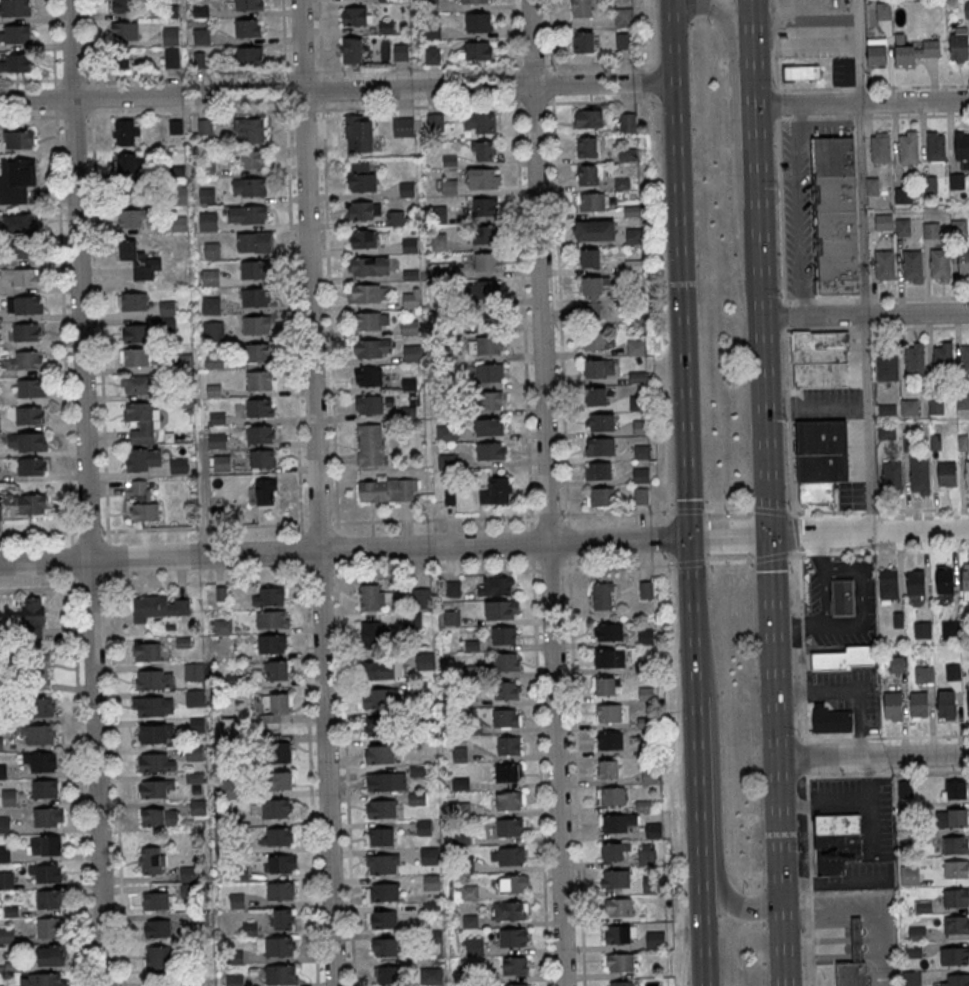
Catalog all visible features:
building: (387, 0)
building: (474, 1)
building: (249, 5)
building: (431, 5)
building: (123, 6)
building: (15, 8)
building: (583, 8)
building: (967, 9)
building: (884, 11)
building: (356, 15)
building: (624, 16)
building: (479, 22)
building: (387, 26)
building: (248, 28)
building: (124, 30)
building: (432, 30)
building: (14, 33)
road: (513, 33)
road: (550, 33)
building: (201, 36)
road: (284, 36)
building: (624, 40)
building: (585, 41)
road: (671, 42)
building: (171, 47)
building: (959, 47)
building: (352, 50)
building: (477, 50)
building: (401, 52)
road: (755, 54)
building: (877, 54)
building: (249, 55)
building: (432, 55)
building: (904, 55)
building: (199, 58)
building: (122, 61)
building: (14, 62)
road: (599, 64)
road: (533, 66)
building: (800, 72)
road: (257, 73)
road: (646, 81)
road: (552, 83)
road: (515, 85)
road: (918, 85)
road: (861, 87)
road: (815, 88)
road: (336, 90)
road: (600, 101)
road: (534, 102)
road: (863, 104)
road: (227, 110)
road: (916, 114)
road: (27, 116)
road: (815, 117)
road: (857, 117)
building: (589, 118)
building: (434, 121)
building: (479, 122)
building: (627, 122)
building: (204, 126)
building: (403, 127)
road: (735, 128)
building: (250, 129)
building: (126, 132)
building: (359, 133)
building: (19, 139)
building: (961, 145)
building: (588, 147)
building: (908, 147)
building: (936, 147)
building: (881, 148)
building: (482, 150)
road: (779, 151)
building: (628, 154)
building: (252, 159)
road: (760, 160)
building: (127, 163)
building: (588, 174)
building: (361, 177)
building: (484, 178)
building: (16, 180)
building: (957, 181)
building: (621, 183)
building: (929, 185)
building: (249, 186)
building: (448, 186)
building: (872, 186)
building: (134, 190)
building: (206, 195)
building: (904, 196)
building: (591, 201)
building: (485, 206)
building: (360, 210)
building: (438, 210)
building: (247, 214)
building: (835, 215)
building: (395, 217)
building: (130, 220)
building: (207, 221)
building: (884, 222)
building: (19, 223)
building: (903, 227)
building: (959, 228)
building: (595, 230)
building: (931, 230)
building: (486, 234)
building: (363, 238)
building: (254, 241)
building: (22, 249)
building: (130, 251)
building: (589, 258)
building: (487, 261)
road: (763, 263)
building: (964, 263)
building: (940, 264)
road: (862, 265)
building: (885, 265)
building: (369, 266)
building: (913, 266)
building: (253, 269)
building: (22, 276)
building: (482, 290)
building: (368, 293)
building: (255, 297)
building: (592, 297)
road: (919, 297)
building: (411, 299)
road: (822, 299)
road: (865, 299)
building: (132, 301)
building: (24, 305)
building: (210, 305)
building: (167, 308)
road: (560, 308)
road: (523, 309)
road: (682, 310)
road: (866, 312)
road: (784, 314)
building: (372, 320)
building: (256, 325)
building: (409, 327)
road: (877, 327)
building: (213, 330)
building: (26, 331)
building: (135, 333)
building: (593, 341)
building: (485, 345)
building: (637, 346)
building: (374, 348)
building: (257, 352)
building: (412, 353)
building: (134, 357)
building: (821, 359)
building: (915, 359)
building: (944, 359)
building: (965, 359)
building: (25, 360)
building: (887, 364)
building: (599, 367)
building: (490, 372)
building: (368, 376)
building: (259, 380)
building: (136, 384)
building: (30, 387)
building: (596, 396)
building: (963, 399)
building: (490, 400)
building: (369, 404)
building: (935, 405)
building: (908, 406)
building: (259, 408)
building: (29, 415)
road: (788, 420)
building: (141, 422)
building: (601, 422)
road: (768, 425)
building: (491, 426)
building: (640, 427)
building: (888, 432)
building: (260, 433)
building: (443, 433)
building: (217, 440)
building: (26, 441)
building: (370, 444)
building: (600, 446)
building: (490, 450)
building: (642, 451)
building: (262, 458)
building: (143, 459)
building: (821, 459)
building: (221, 462)
building: (178, 465)
building: (31, 466)
building: (598, 470)
building: (891, 474)
building: (920, 474)
building: (948, 474)
building: (641, 475)
building: (967, 476)
building: (387, 490)
building: (266, 491)
building: (497, 491)
road: (335, 492)
road: (85, 493)
road: (316, 493)
road: (546, 493)
building: (599, 496)
building: (641, 496)
road: (203, 498)
building: (142, 502)
building: (32, 504)
road: (924, 508)
road: (696, 509)
road: (726, 509)
road: (769, 509)
road: (871, 510)
road: (826, 511)
building: (0, 512)
road: (620, 512)
road: (548, 514)
road: (319, 523)
road: (104, 531)
road: (90, 532)
road: (796, 532)
road: (870, 532)
road: (39, 533)
traffic signals: (772, 535)
road: (731, 536)
road: (108, 537)
road: (72, 538)
traffic signals: (691, 538)
road: (567, 541)
road: (530, 542)
road: (345, 549)
road: (880, 551)
road: (771, 556)
road: (109, 559)
road: (73, 560)
road: (721, 560)
road: (621, 566)
road: (550, 568)
road: (320, 576)
building: (965, 579)
road: (692, 580)
building: (944, 581)
building: (916, 582)
building: (889, 584)
road: (106, 585)
building: (496, 585)
road: (92, 586)
road: (40, 587)
building: (453, 588)
building: (646, 589)
building: (268, 595)
building: (603, 595)
building: (421, 596)
building: (372, 597)
building: (842, 597)
building: (158, 606)
building: (502, 609)
building: (33, 617)
building: (452, 617)
building: (272, 619)
building: (412, 621)
building: (223, 626)
building: (923, 630)
building: (950, 630)
building: (609, 631)
building: (371, 633)
building: (503, 635)
building: (645, 636)
building: (272, 643)
road: (774, 646)
building: (148, 651)
building: (610, 657)
building: (845, 658)
building: (425, 660)
building: (507, 661)
building: (897, 665)
building: (278, 669)
building: (385, 669)
building: (193, 670)
building: (39, 671)
building: (953, 672)
building: (923, 675)
building: (154, 678)
building: (606, 685)
building: (507, 689)
building: (194, 697)
building: (380, 698)
building: (968, 700)
building: (947, 703)
building: (919, 704)
building: (41, 706)
building: (152, 706)
building: (274, 706)
building: (893, 706)
building: (609, 713)
building: (506, 717)
building: (830, 719)
road: (805, 725)
building: (380, 726)
building: (155, 733)
building: (37, 734)
building: (610, 740)
building: (0, 744)
building: (508, 745)
building: (282, 752)
building: (379, 753)
road: (873, 756)
building: (39, 761)
building: (157, 762)
building: (608, 768)
building: (508, 772)
building: (650, 776)
road: (539, 777)
road: (576, 777)
road: (116, 780)
building: (280, 780)
road: (310, 780)
road: (80, 781)
building: (386, 781)
building: (44, 788)
building: (154, 789)
building: (905, 789)
building: (957, 790)
road: (716, 791)
building: (611, 796)
building: (8, 797)
road: (806, 799)
building: (510, 800)
road: (699, 804)
building: (272, 808)
building: (384, 808)
building: (907, 812)
building: (47, 816)
building: (154, 816)
building: (957, 818)
building: (616, 822)
building: (4, 824)
building: (424, 826)
road: (780, 826)
building: (509, 827)
building: (653, 830)
building: (277, 836)
building: (380, 836)
building: (836, 842)
building: (44, 845)
building: (955, 845)
building: (616, 851)
building: (4, 853)
building: (646, 854)
building: (430, 855)
building: (507, 855)
building: (151, 860)
building: (282, 863)
building: (382, 863)
building: (957, 870)
building: (45, 873)
building: (910, 876)
building: (615, 878)
building: (431, 881)
building: (513, 883)
building: (281, 891)
building: (382, 891)
building: (469, 892)
building: (956, 898)
building: (48, 899)
building: (156, 901)
building: (619, 906)
building: (432, 907)
building: (923, 907)
road: (868, 909)
building: (510, 910)
building: (283, 919)
building: (384, 919)
building: (956, 925)
building: (48, 927)
building: (158, 929)
building: (917, 933)
building: (617, 934)
building: (6, 936)
building: (513, 937)
road: (784, 939)
building: (385, 946)
building: (474, 946)
building: (279, 947)
building: (914, 950)
building: (51, 955)
building: (955, 956)
building: (156, 957)
building: (854, 961)
building: (619, 962)
building: (515, 965)
building: (387, 974)
building: (281, 975)
building: (431, 975)
building: (42, 979)
building: (913, 979)
building: (234, 980)
building: (957, 980)
building: (620, 983)
building: (516, 984)
road: (886, 985)

